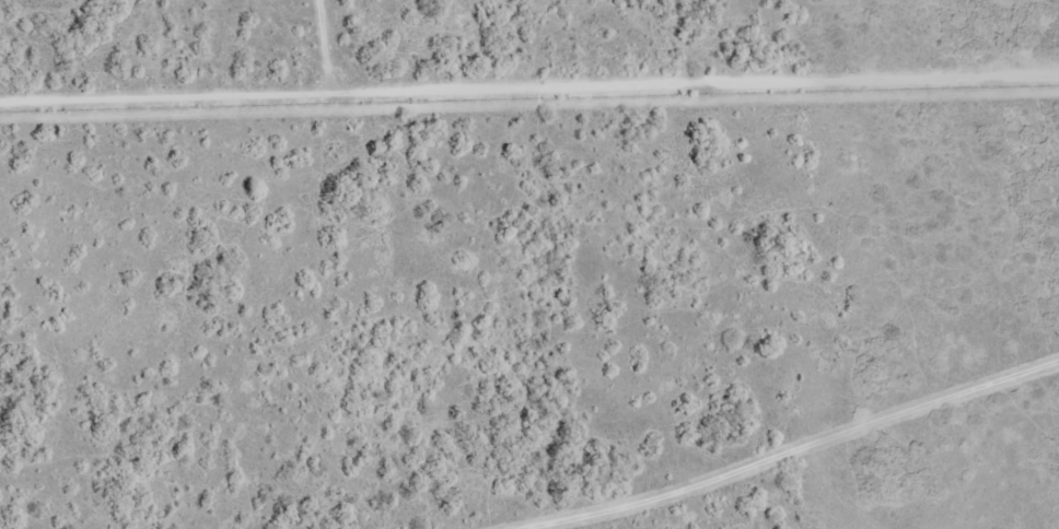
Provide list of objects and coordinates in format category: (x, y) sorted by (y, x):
road: (799, 460)

